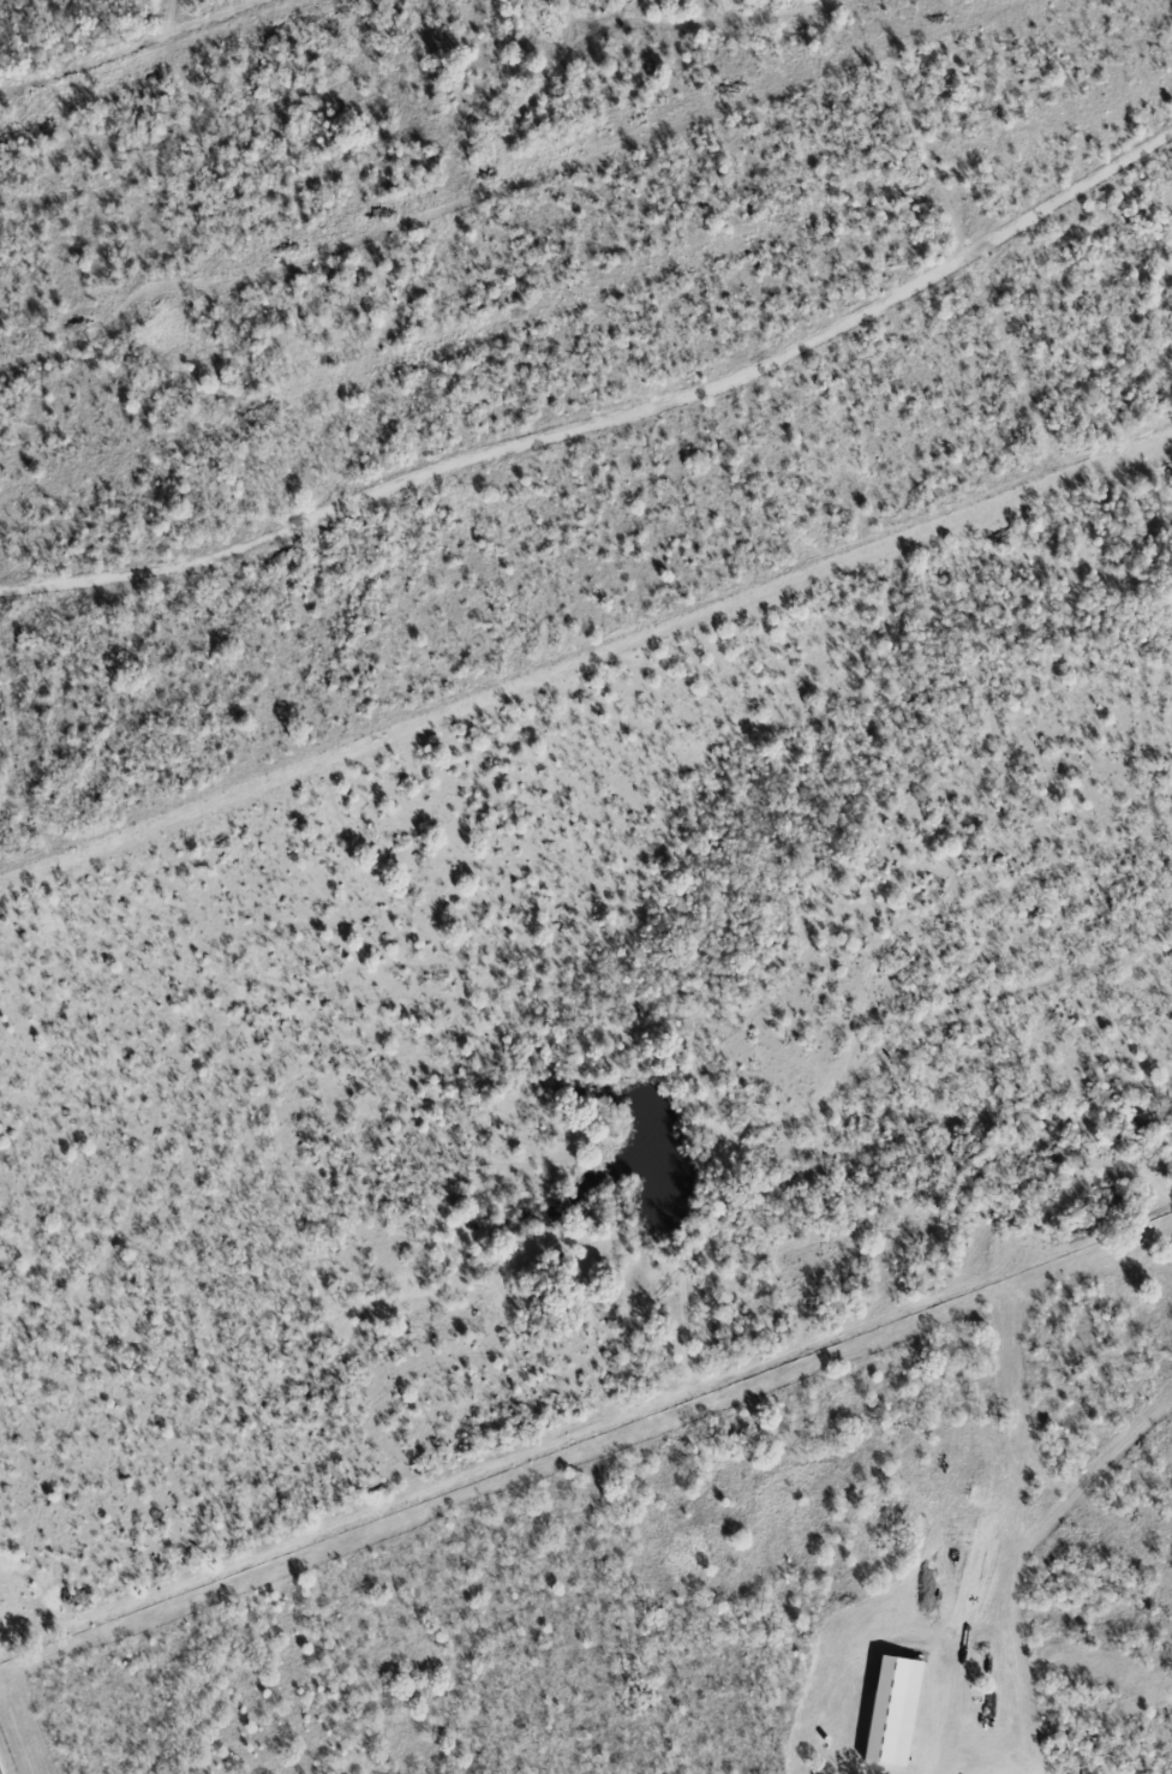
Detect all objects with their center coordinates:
road: (609, 422)
building: (890, 1728)

